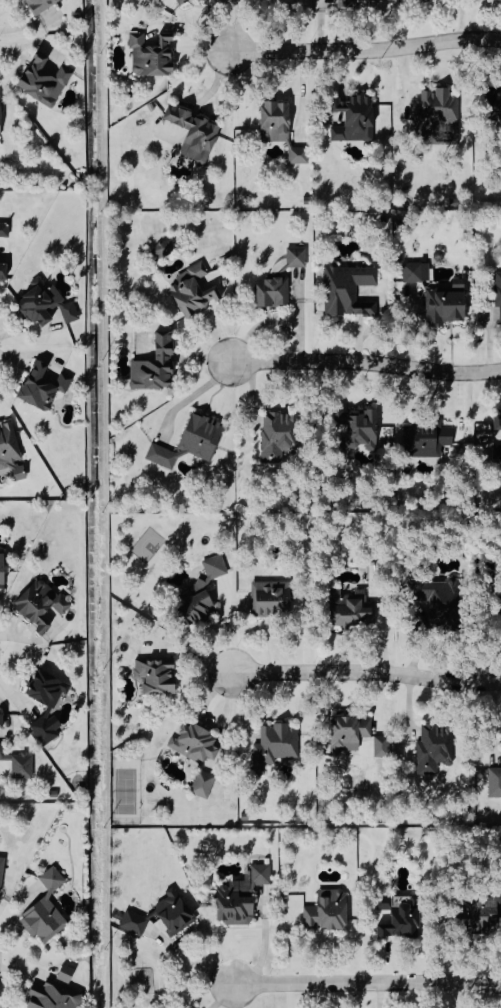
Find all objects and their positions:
building: (201, 0)
building: (183, 1)
building: (42, 5)
road: (362, 51)
building: (153, 55)
building: (45, 81)
building: (496, 100)
building: (356, 120)
building: (277, 122)
building: (196, 134)
building: (300, 156)
building: (5, 228)
building: (165, 249)
building: (298, 256)
building: (4, 270)
building: (414, 271)
building: (349, 289)
building: (498, 289)
building: (195, 290)
building: (274, 291)
building: (47, 303)
building: (447, 306)
road: (368, 363)
building: (157, 365)
building: (44, 386)
building: (498, 423)
building: (360, 426)
building: (279, 433)
building: (428, 439)
building: (192, 441)
building: (9, 444)
building: (498, 451)
building: (216, 567)
building: (3, 569)
building: (439, 594)
building: (273, 597)
building: (198, 603)
building: (42, 604)
building: (352, 608)
road: (362, 673)
building: (158, 675)
building: (52, 708)
building: (350, 732)
building: (197, 743)
building: (276, 745)
building: (383, 746)
building: (436, 748)
building: (495, 774)
building: (205, 784)
building: (2, 871)
building: (242, 896)
building: (329, 910)
building: (480, 911)
building: (176, 912)
building: (401, 917)
building: (135, 923)
road: (199, 956)
building: (67, 974)
road: (368, 983)
building: (54, 996)

